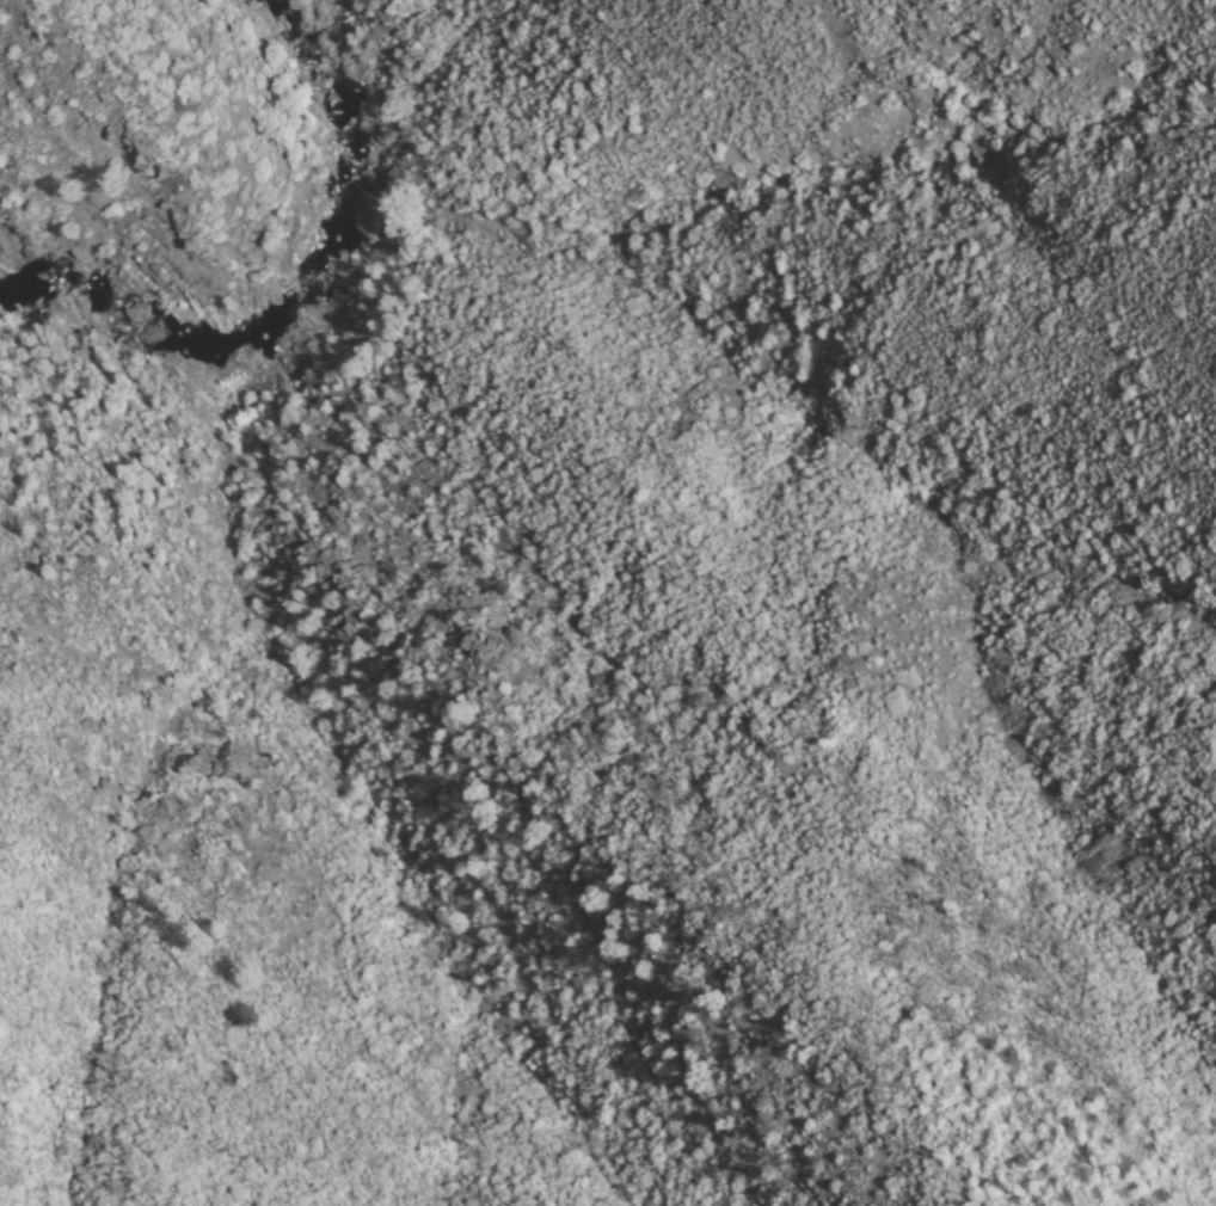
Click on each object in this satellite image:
river: (288, 285)

